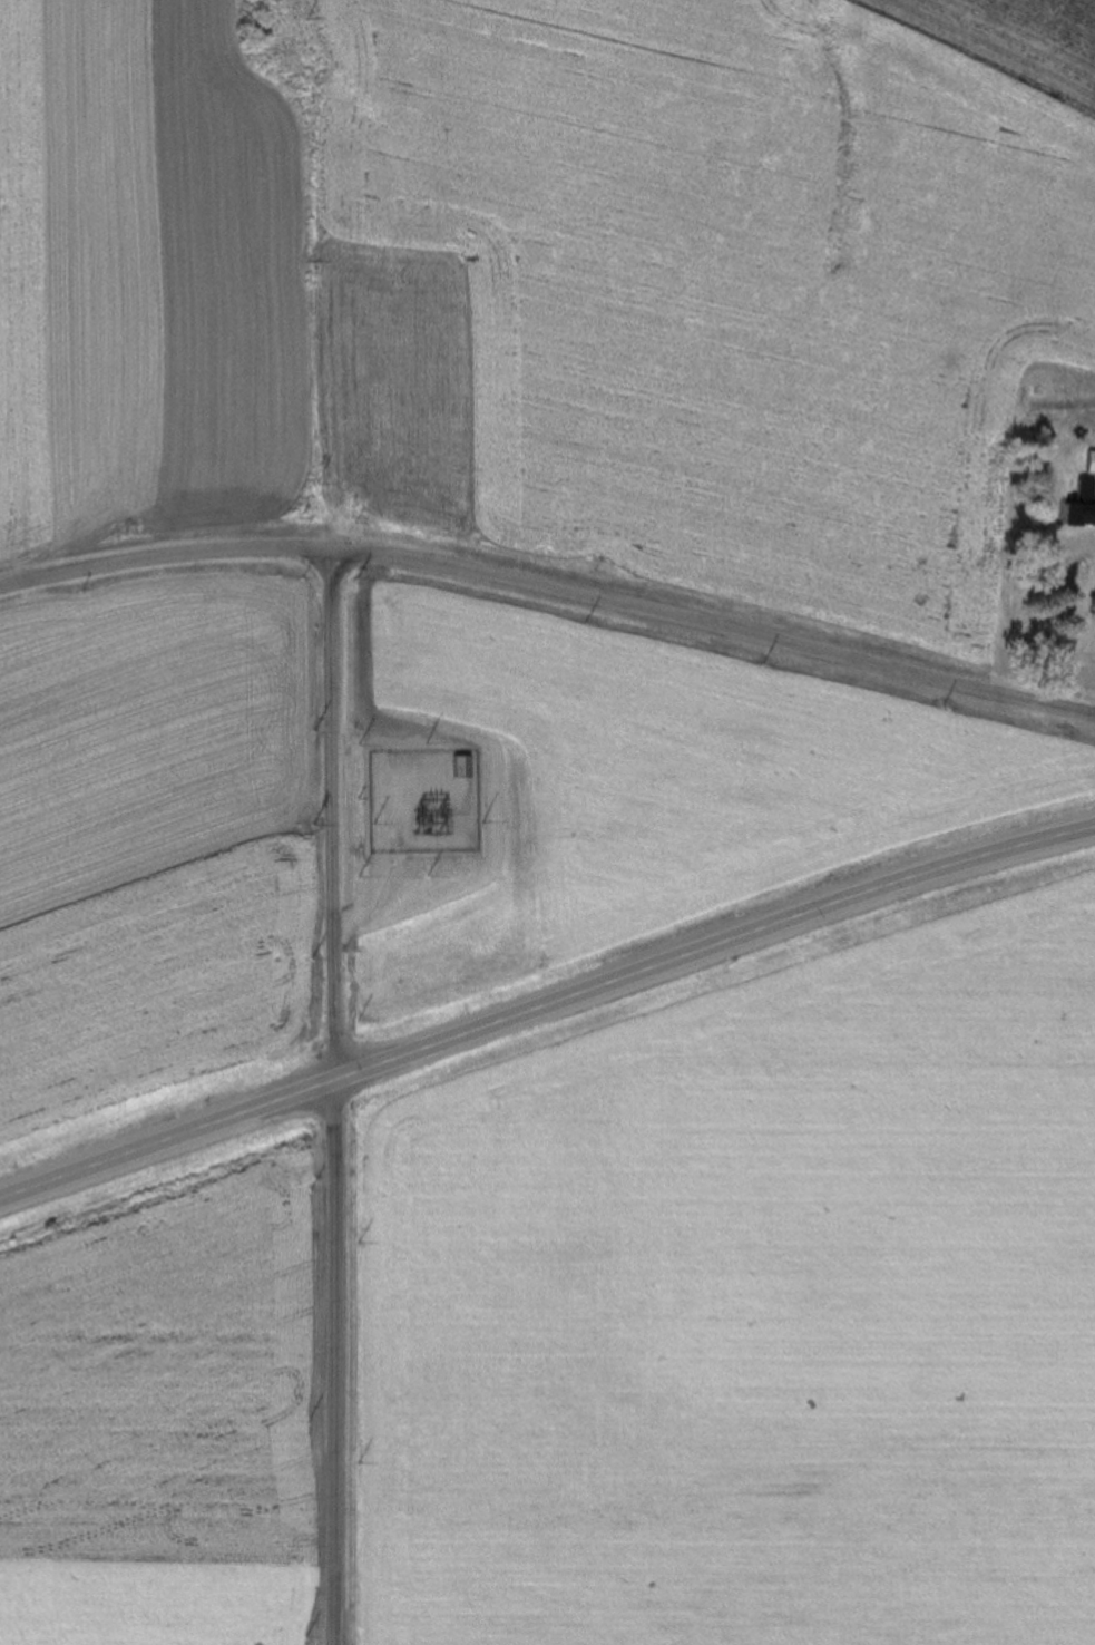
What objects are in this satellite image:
building: (1088, 461)
building: (1075, 506)
road: (550, 590)
building: (453, 766)
power substation: (419, 805)
road: (545, 1005)
road: (333, 1097)

